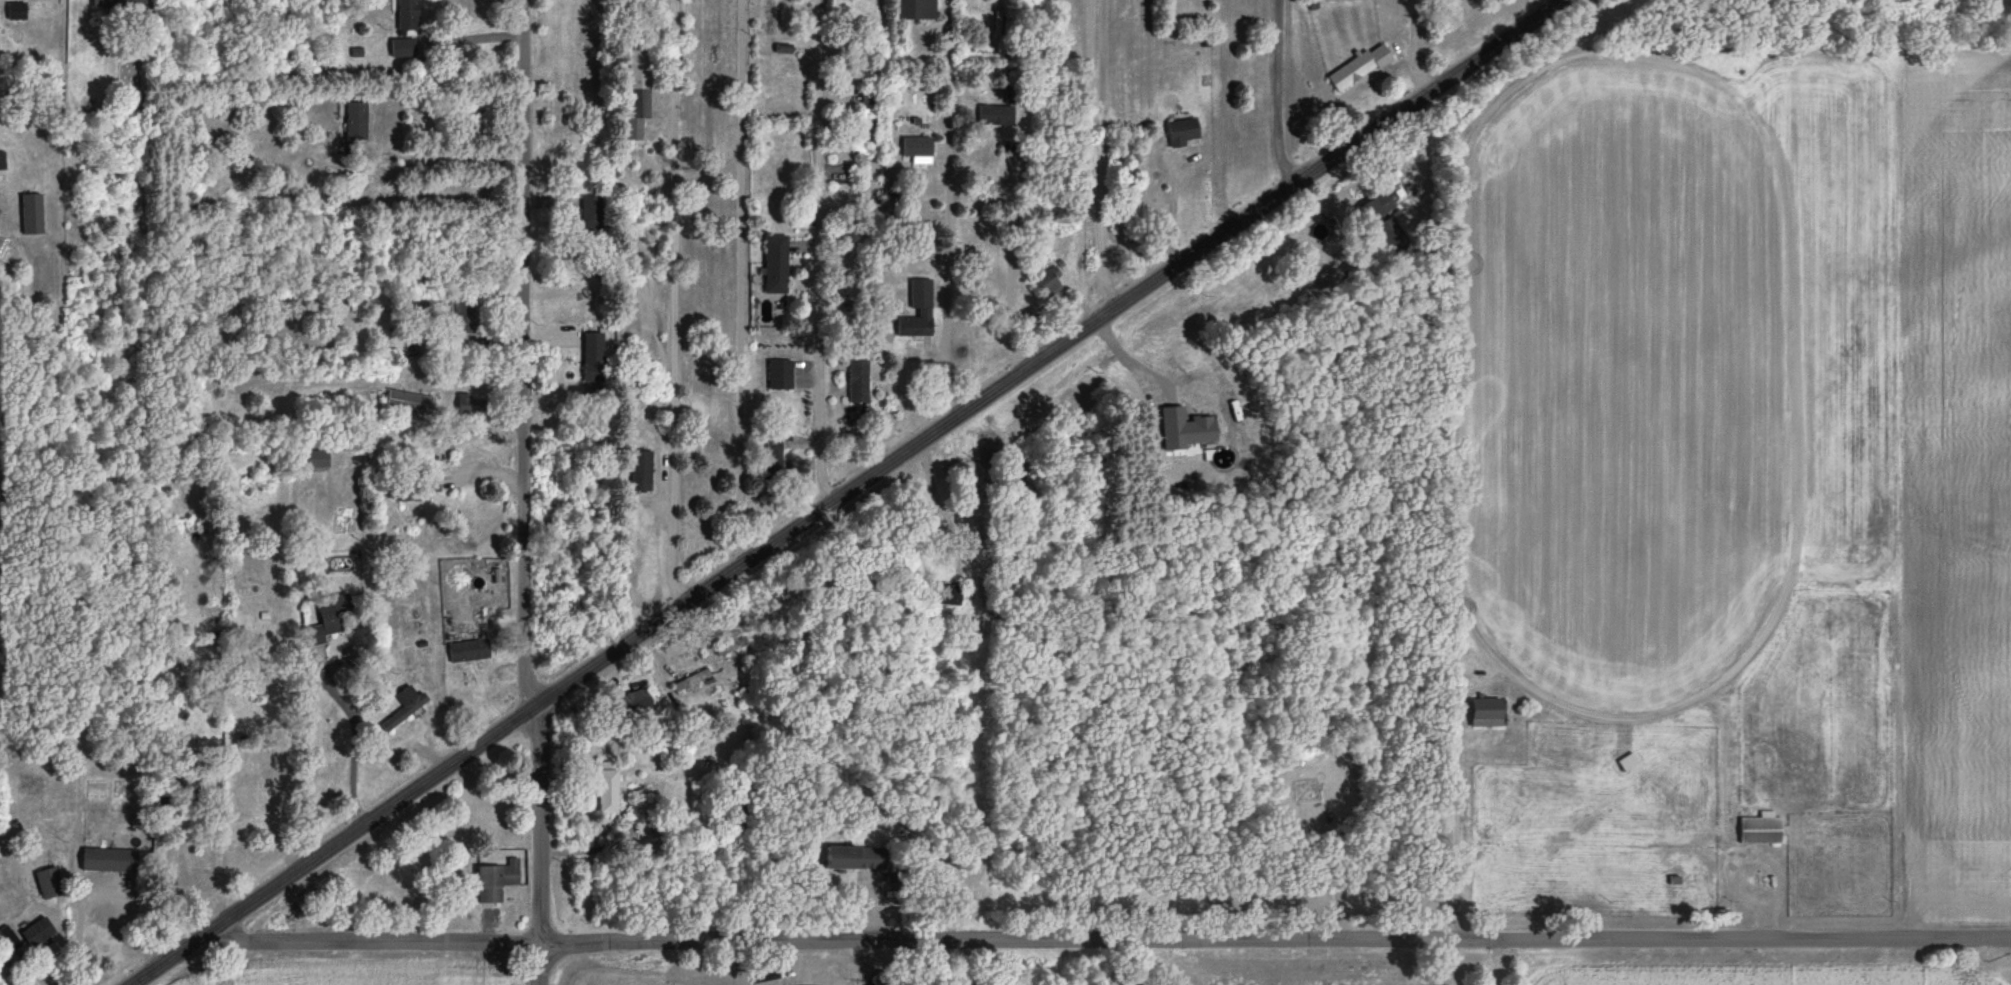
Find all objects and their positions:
building: (118, 4)
building: (914, 9)
building: (14, 11)
building: (406, 15)
road: (1415, 44)
building: (402, 48)
building: (1358, 67)
building: (638, 91)
road: (1289, 92)
building: (995, 115)
building: (355, 121)
building: (864, 132)
building: (1181, 132)
building: (916, 149)
building: (1, 161)
road: (1081, 162)
building: (1375, 208)
road: (943, 212)
building: (590, 218)
building: (1392, 237)
road: (817, 253)
road: (1009, 257)
building: (774, 265)
road: (739, 280)
building: (1047, 283)
road: (672, 302)
building: (918, 309)
building: (462, 317)
road: (523, 356)
building: (592, 358)
building: (778, 376)
building: (856, 382)
building: (409, 404)
building: (471, 407)
building: (772, 456)
building: (986, 465)
building: (640, 472)
building: (417, 484)
road: (846, 490)
road: (937, 504)
building: (942, 595)
building: (333, 611)
building: (728, 649)
building: (467, 651)
building: (689, 681)
road: (354, 703)
building: (632, 703)
building: (403, 708)
building: (258, 712)
building: (1483, 713)
building: (1626, 763)
building: (605, 791)
road: (1451, 827)
building: (1759, 829)
road: (540, 848)
building: (854, 859)
building: (494, 882)
building: (48, 883)
road: (101, 887)
building: (111, 911)
building: (37, 933)
building: (7, 940)
road: (1107, 940)
road: (1496, 962)

